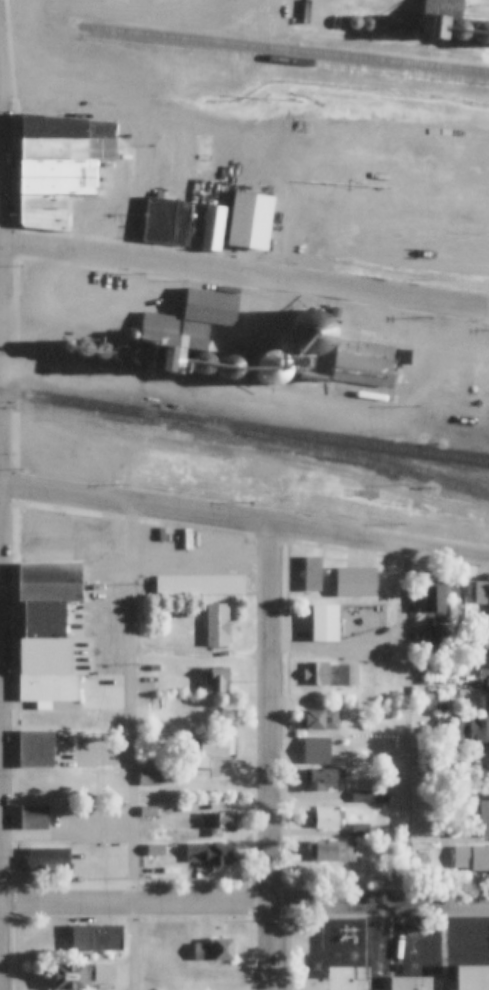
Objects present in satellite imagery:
building: (353, 21)
silo: (353, 21)
building: (366, 23)
silo: (366, 23)
railway: (251, 25)
building: (433, 26)
building: (459, 28)
silo: (459, 28)
building: (481, 31)
silo: (481, 31)
railway: (244, 56)
building: (63, 127)
road: (334, 137)
building: (67, 147)
building: (382, 165)
silo: (382, 165)
building: (56, 166)
building: (405, 168)
silo: (405, 168)
building: (428, 170)
silo: (428, 170)
building: (450, 172)
silo: (450, 172)
building: (473, 175)
silo: (473, 175)
building: (487, 177)
silo: (487, 177)
building: (59, 185)
building: (44, 200)
building: (407, 204)
silo: (407, 204)
building: (45, 217)
building: (159, 220)
building: (250, 220)
building: (180, 223)
building: (212, 227)
building: (195, 229)
building: (362, 244)
silo: (362, 244)
building: (452, 245)
building: (388, 248)
silo: (388, 248)
building: (415, 252)
silo: (415, 252)
building: (441, 256)
silo: (441, 256)
building: (468, 259)
silo: (468, 259)
building: (486, 262)
silo: (486, 262)
road: (244, 275)
building: (210, 306)
building: (173, 331)
building: (311, 331)
silo: (311, 331)
building: (366, 333)
silo: (366, 333)
building: (379, 334)
silo: (379, 334)
building: (66, 346)
silo: (66, 346)
building: (81, 348)
silo: (81, 348)
building: (100, 351)
silo: (100, 351)
building: (118, 353)
silo: (118, 353)
building: (162, 356)
building: (138, 357)
silo: (138, 357)
building: (362, 361)
building: (200, 363)
silo: (200, 363)
building: (227, 367)
silo: (227, 367)
building: (269, 367)
silo: (269, 367)
railway: (244, 389)
storage tank: (371, 394)
railway: (244, 425)
railway: (227, 439)
railway: (328, 447)
road: (244, 524)
building: (67, 537)
building: (213, 568)
building: (51, 572)
building: (312, 574)
building: (357, 582)
building: (51, 591)
building: (482, 594)
building: (431, 600)
building: (184, 614)
power substation: (360, 618)
building: (45, 620)
building: (325, 623)
building: (217, 625)
building: (432, 640)
building: (486, 642)
building: (67, 666)
building: (432, 668)
building: (317, 674)
building: (347, 675)
building: (485, 678)
building: (218, 680)
building: (49, 687)
building: (320, 720)
building: (38, 722)
building: (366, 727)
building: (473, 728)
road: (411, 729)
road: (131, 748)
building: (37, 749)
building: (210, 752)
road: (276, 759)
building: (149, 778)
building: (321, 778)
building: (370, 796)
building: (148, 812)
building: (35, 817)
building: (484, 817)
building: (326, 818)
building: (218, 824)
building: (360, 830)
building: (155, 851)
building: (333, 851)
building: (210, 853)
building: (472, 857)
building: (48, 860)
building: (395, 869)
road: (244, 907)
building: (97, 938)
building: (214, 950)
building: (80, 975)
building: (473, 977)
building: (411, 983)

